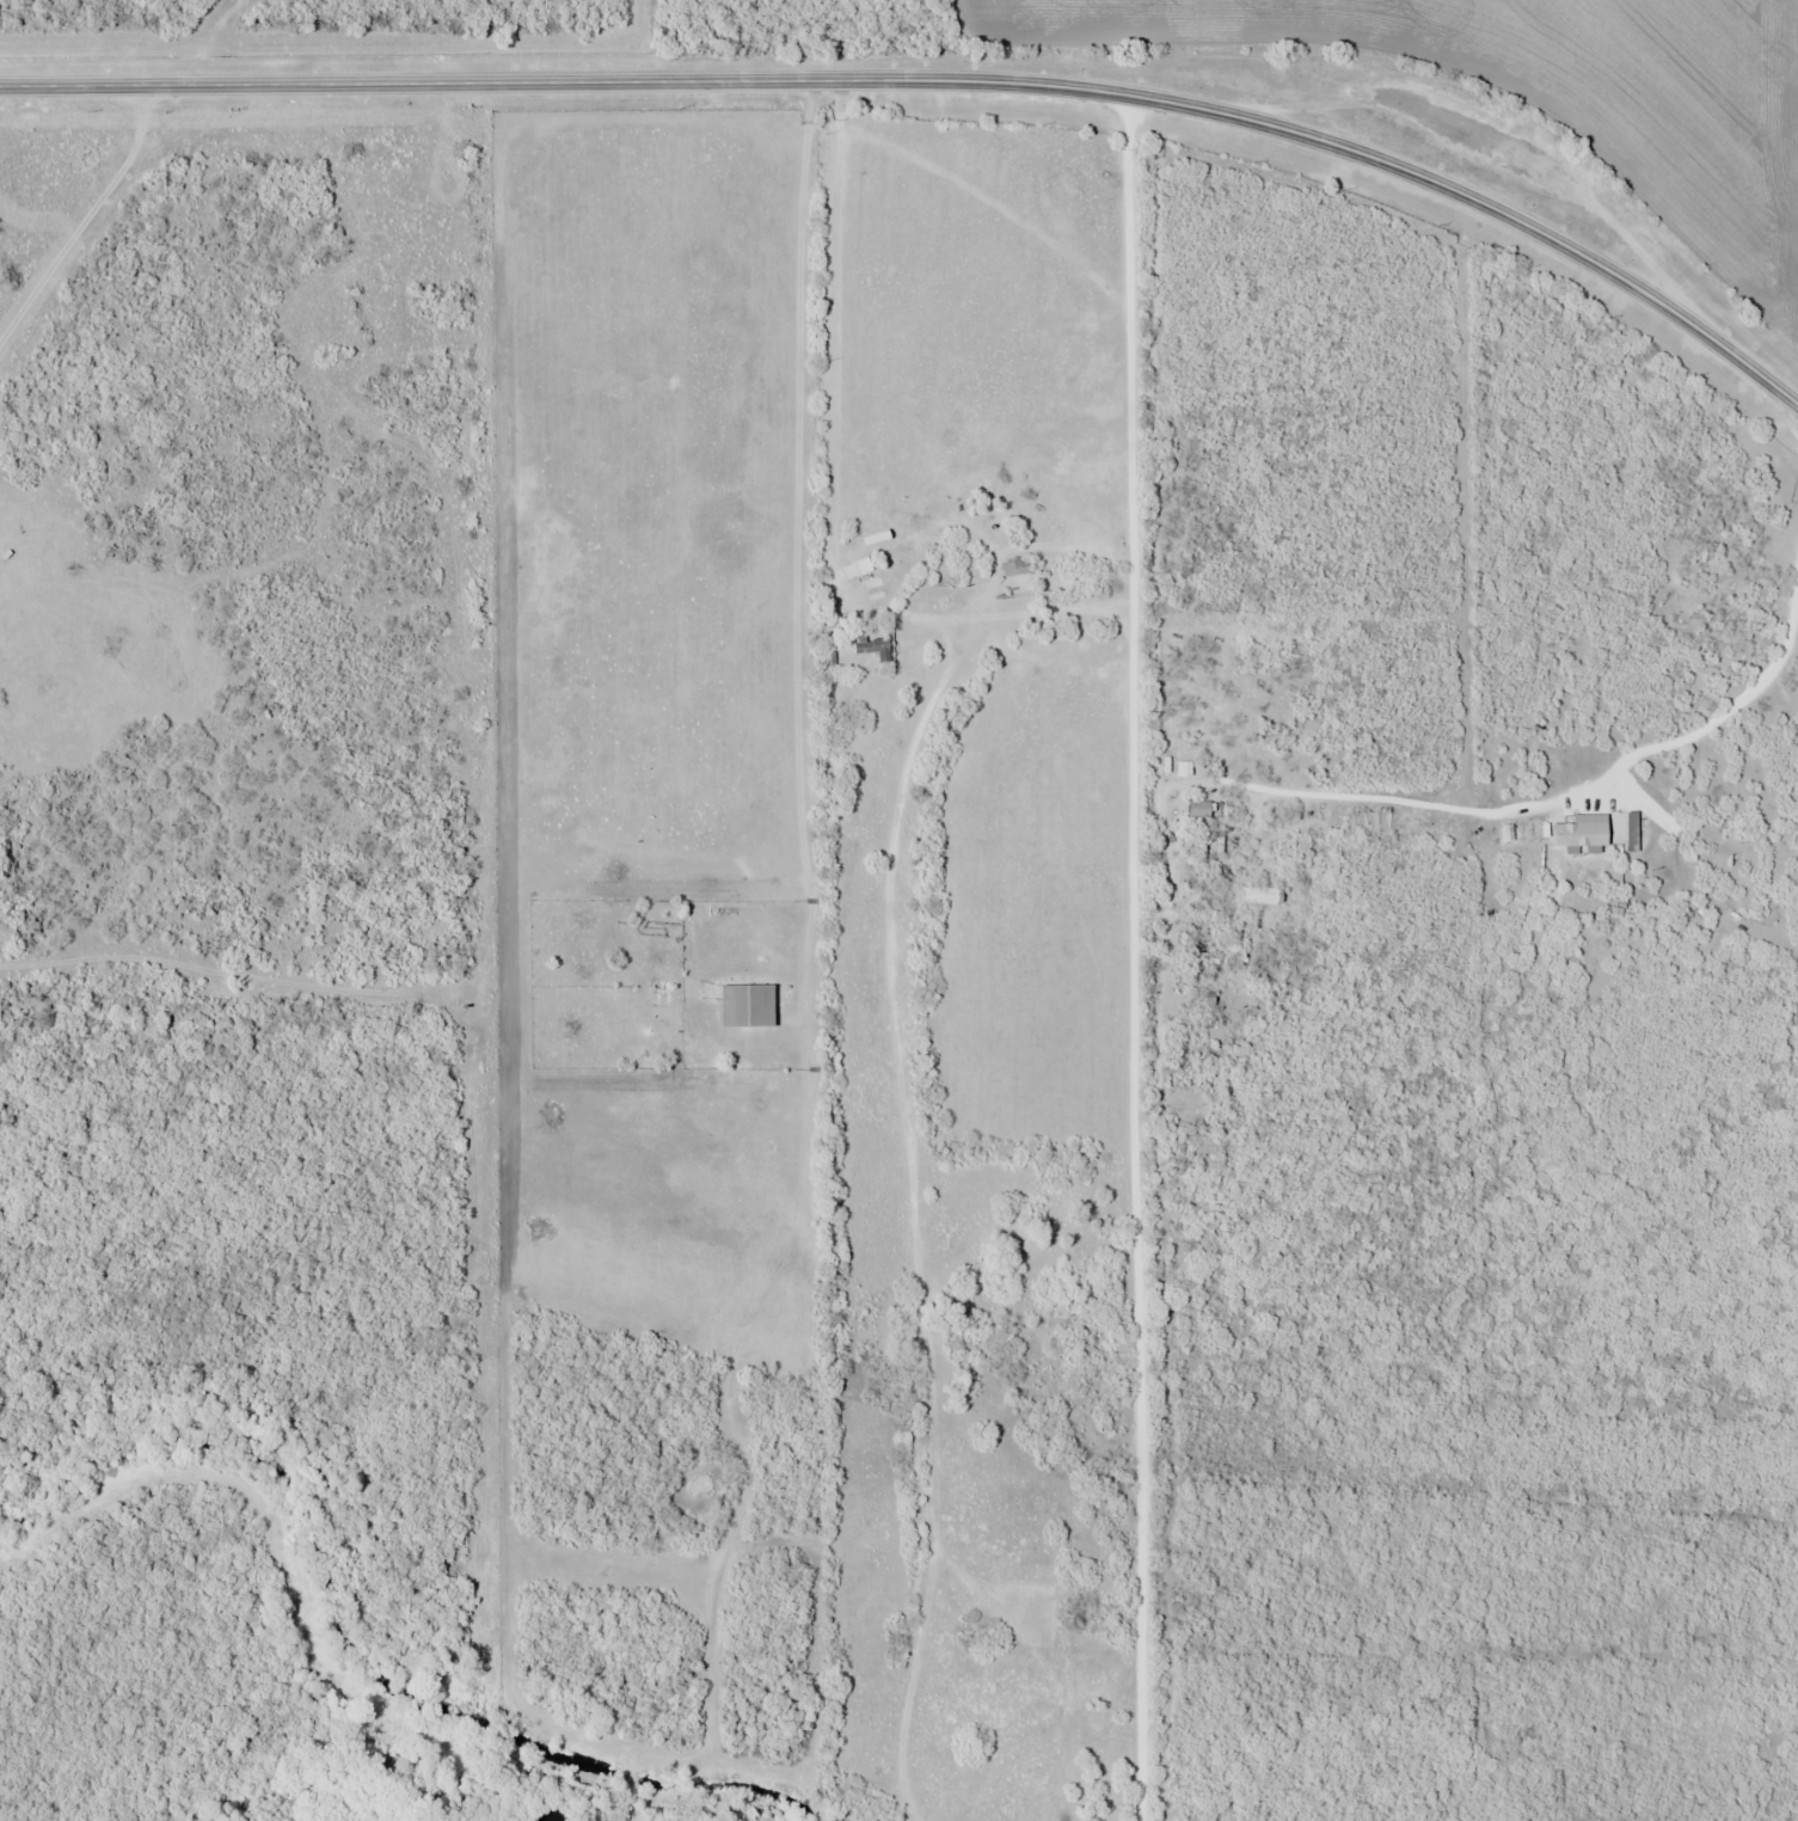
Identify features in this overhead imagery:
road: (938, 80)
road: (824, 354)
building: (861, 564)
building: (1012, 566)
building: (873, 587)
building: (870, 645)
building: (1197, 808)
building: (1257, 894)
road: (1134, 957)
building: (743, 1005)

